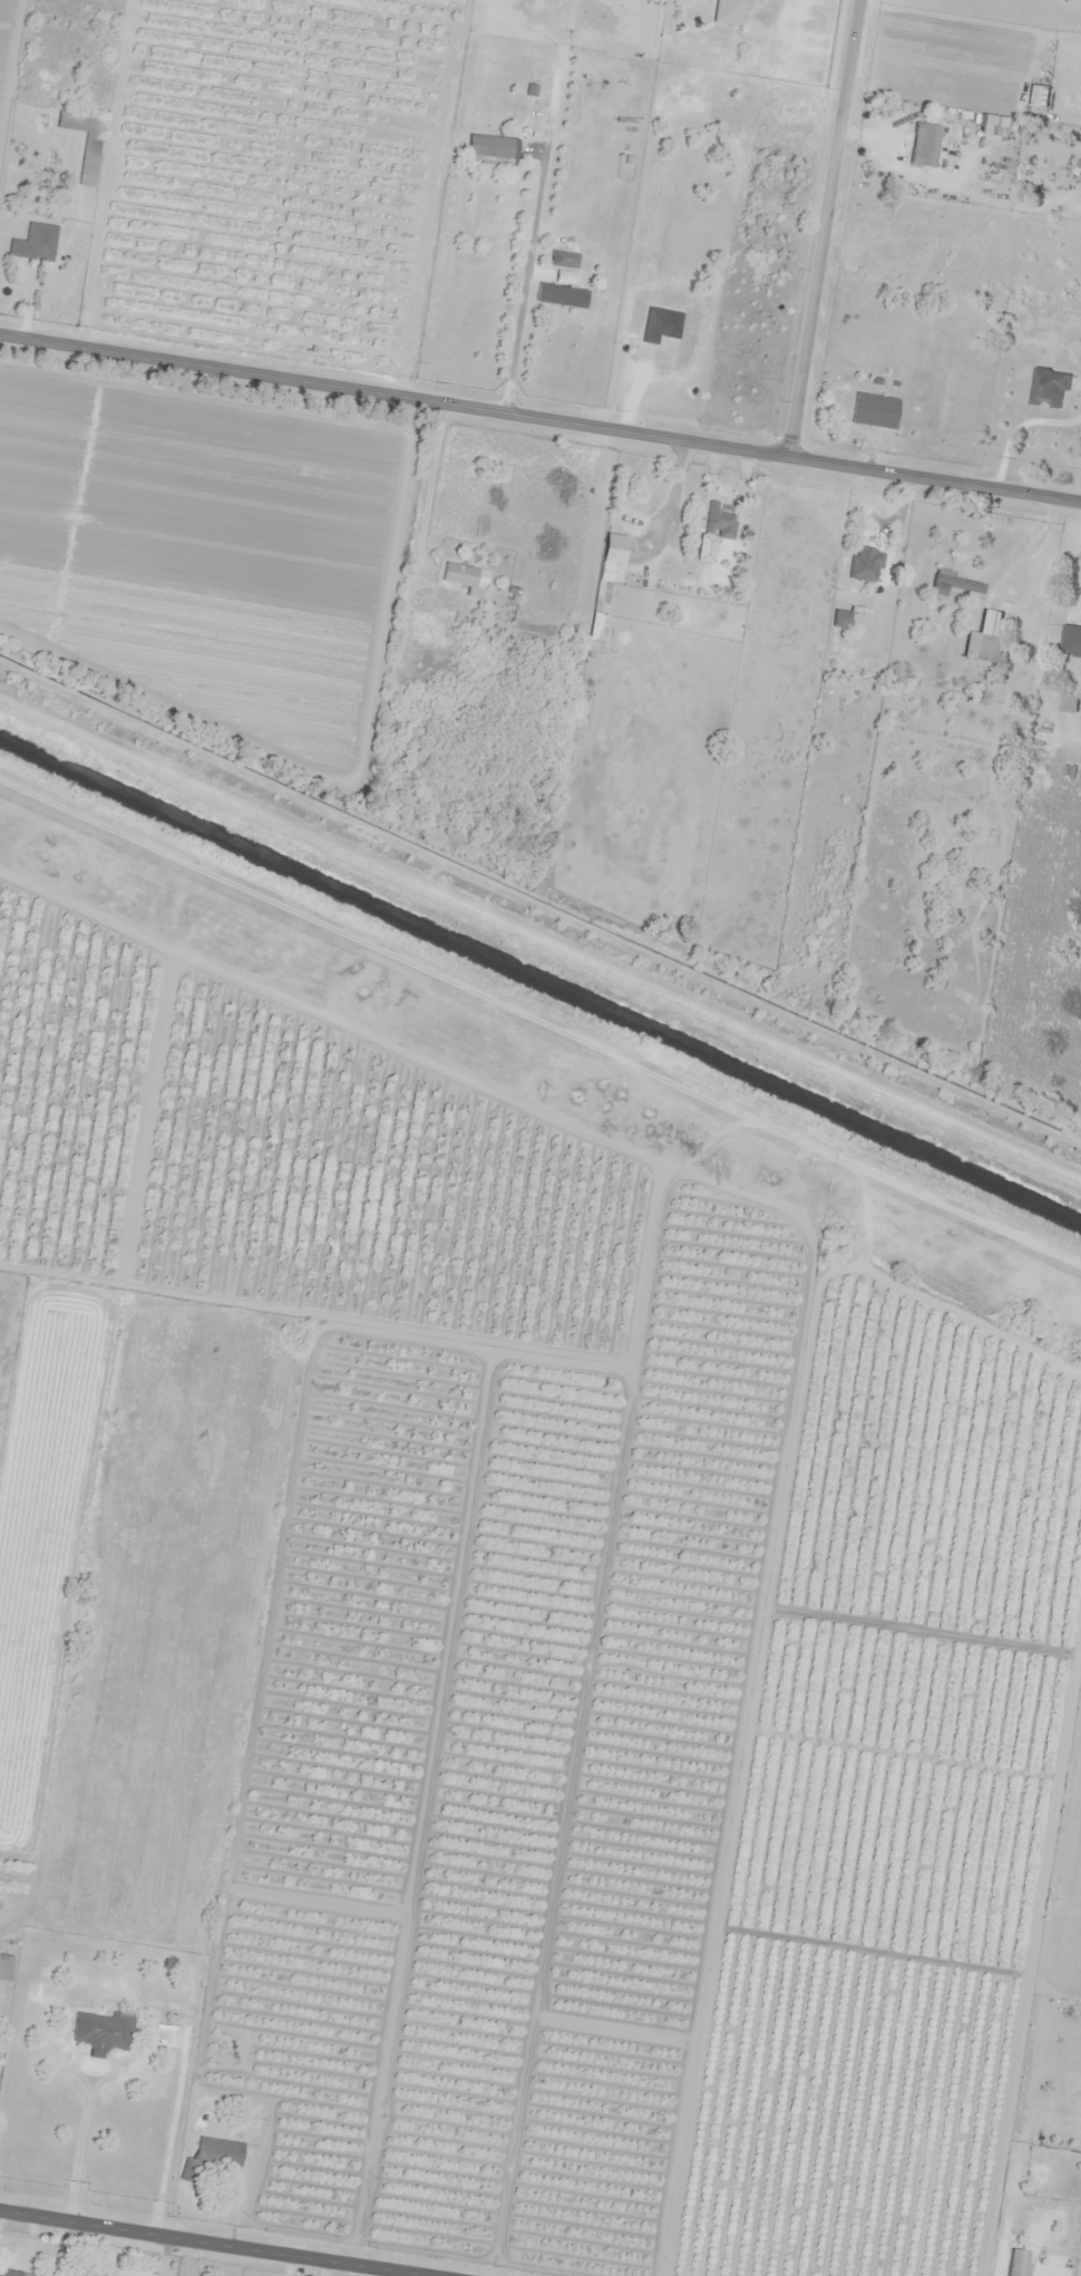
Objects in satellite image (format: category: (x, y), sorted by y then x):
building: (729, 11)
building: (1033, 95)
building: (84, 142)
building: (943, 145)
building: (487, 146)
road: (841, 228)
building: (35, 242)
building: (562, 259)
building: (559, 295)
building: (1046, 387)
building: (871, 409)
road: (539, 416)
building: (717, 521)
building: (464, 577)
building: (605, 580)
building: (953, 583)
building: (838, 619)
building: (982, 636)
building: (1070, 641)
building: (2, 1966)
building: (100, 2032)
building: (216, 2150)
road: (193, 2245)
building: (79, 2270)
building: (12, 2273)

